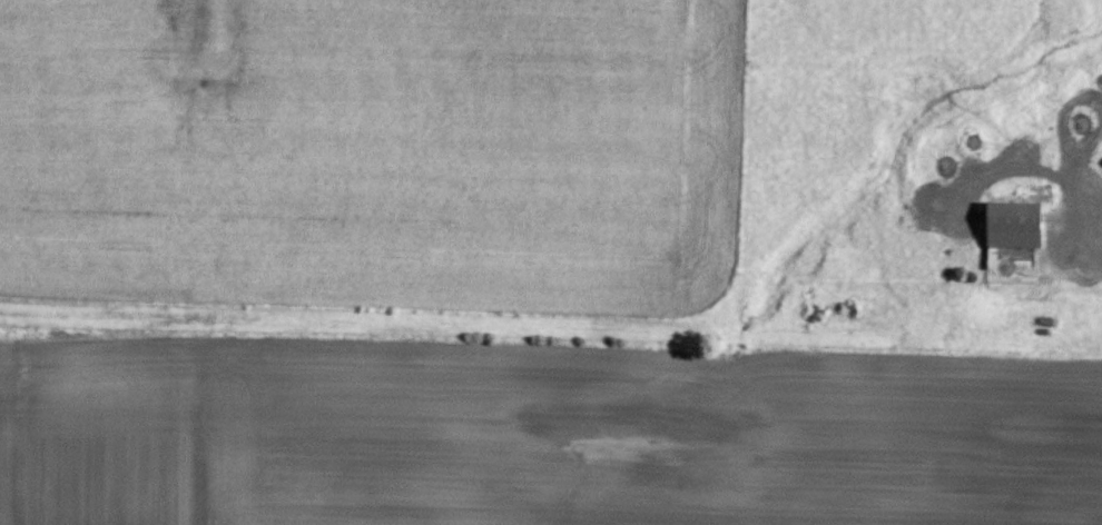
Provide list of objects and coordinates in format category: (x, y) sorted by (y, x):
building: (1012, 222)

